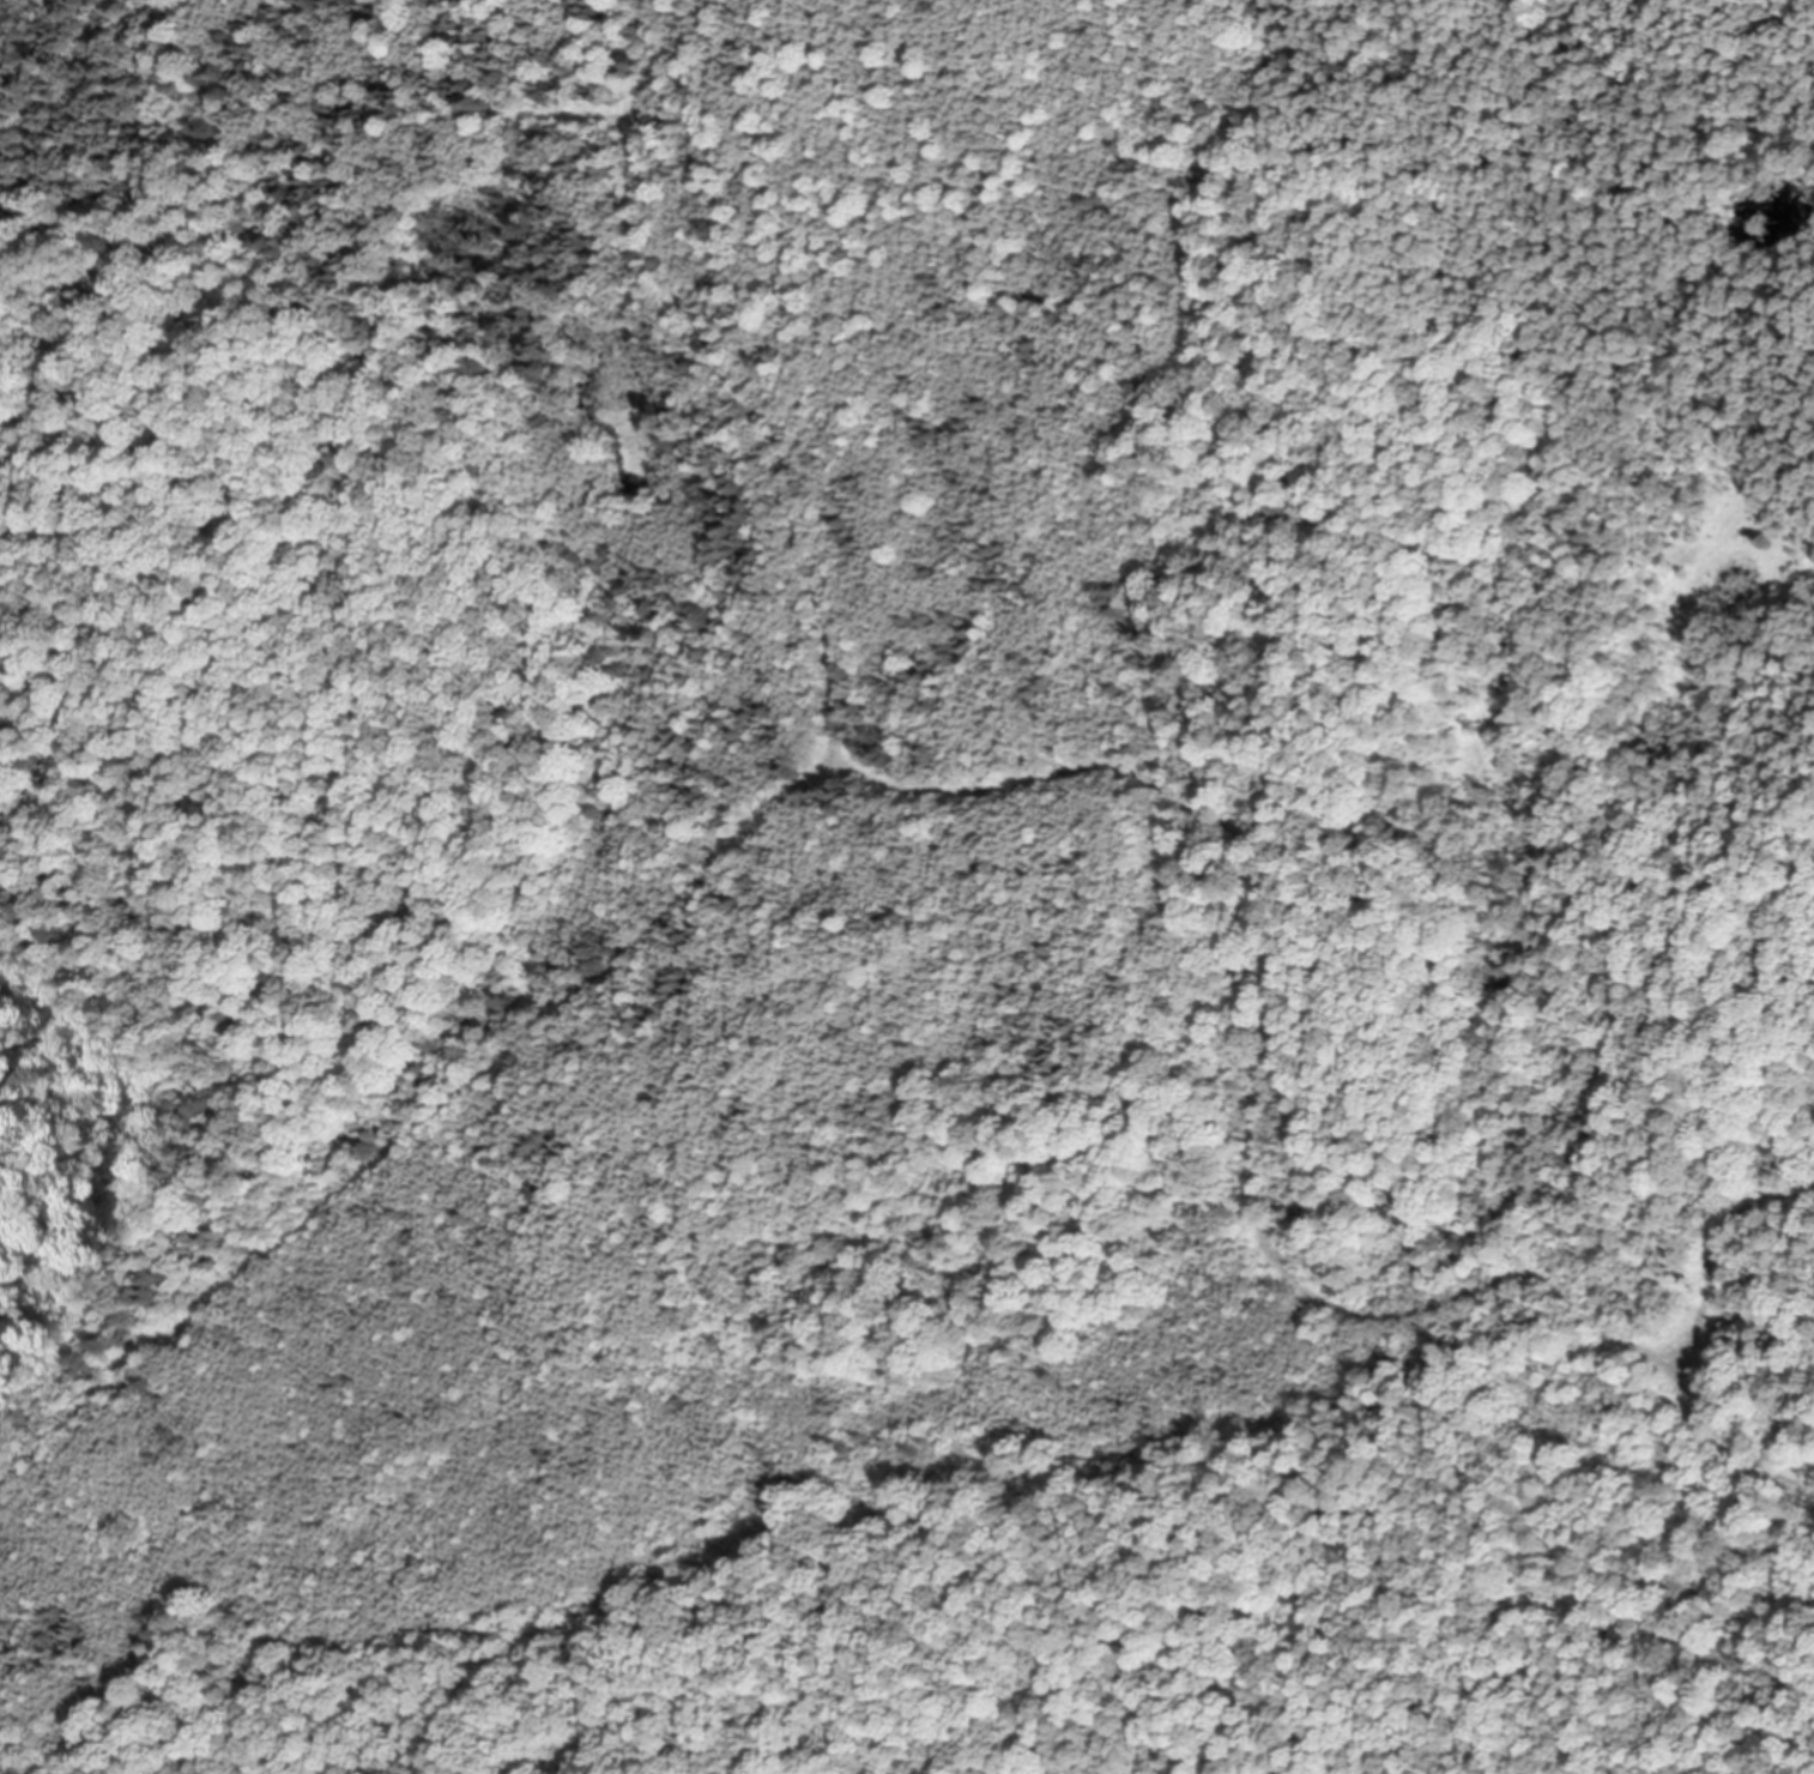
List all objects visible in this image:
road: (1161, 789)
road: (423, 1128)
road: (1713, 1256)

